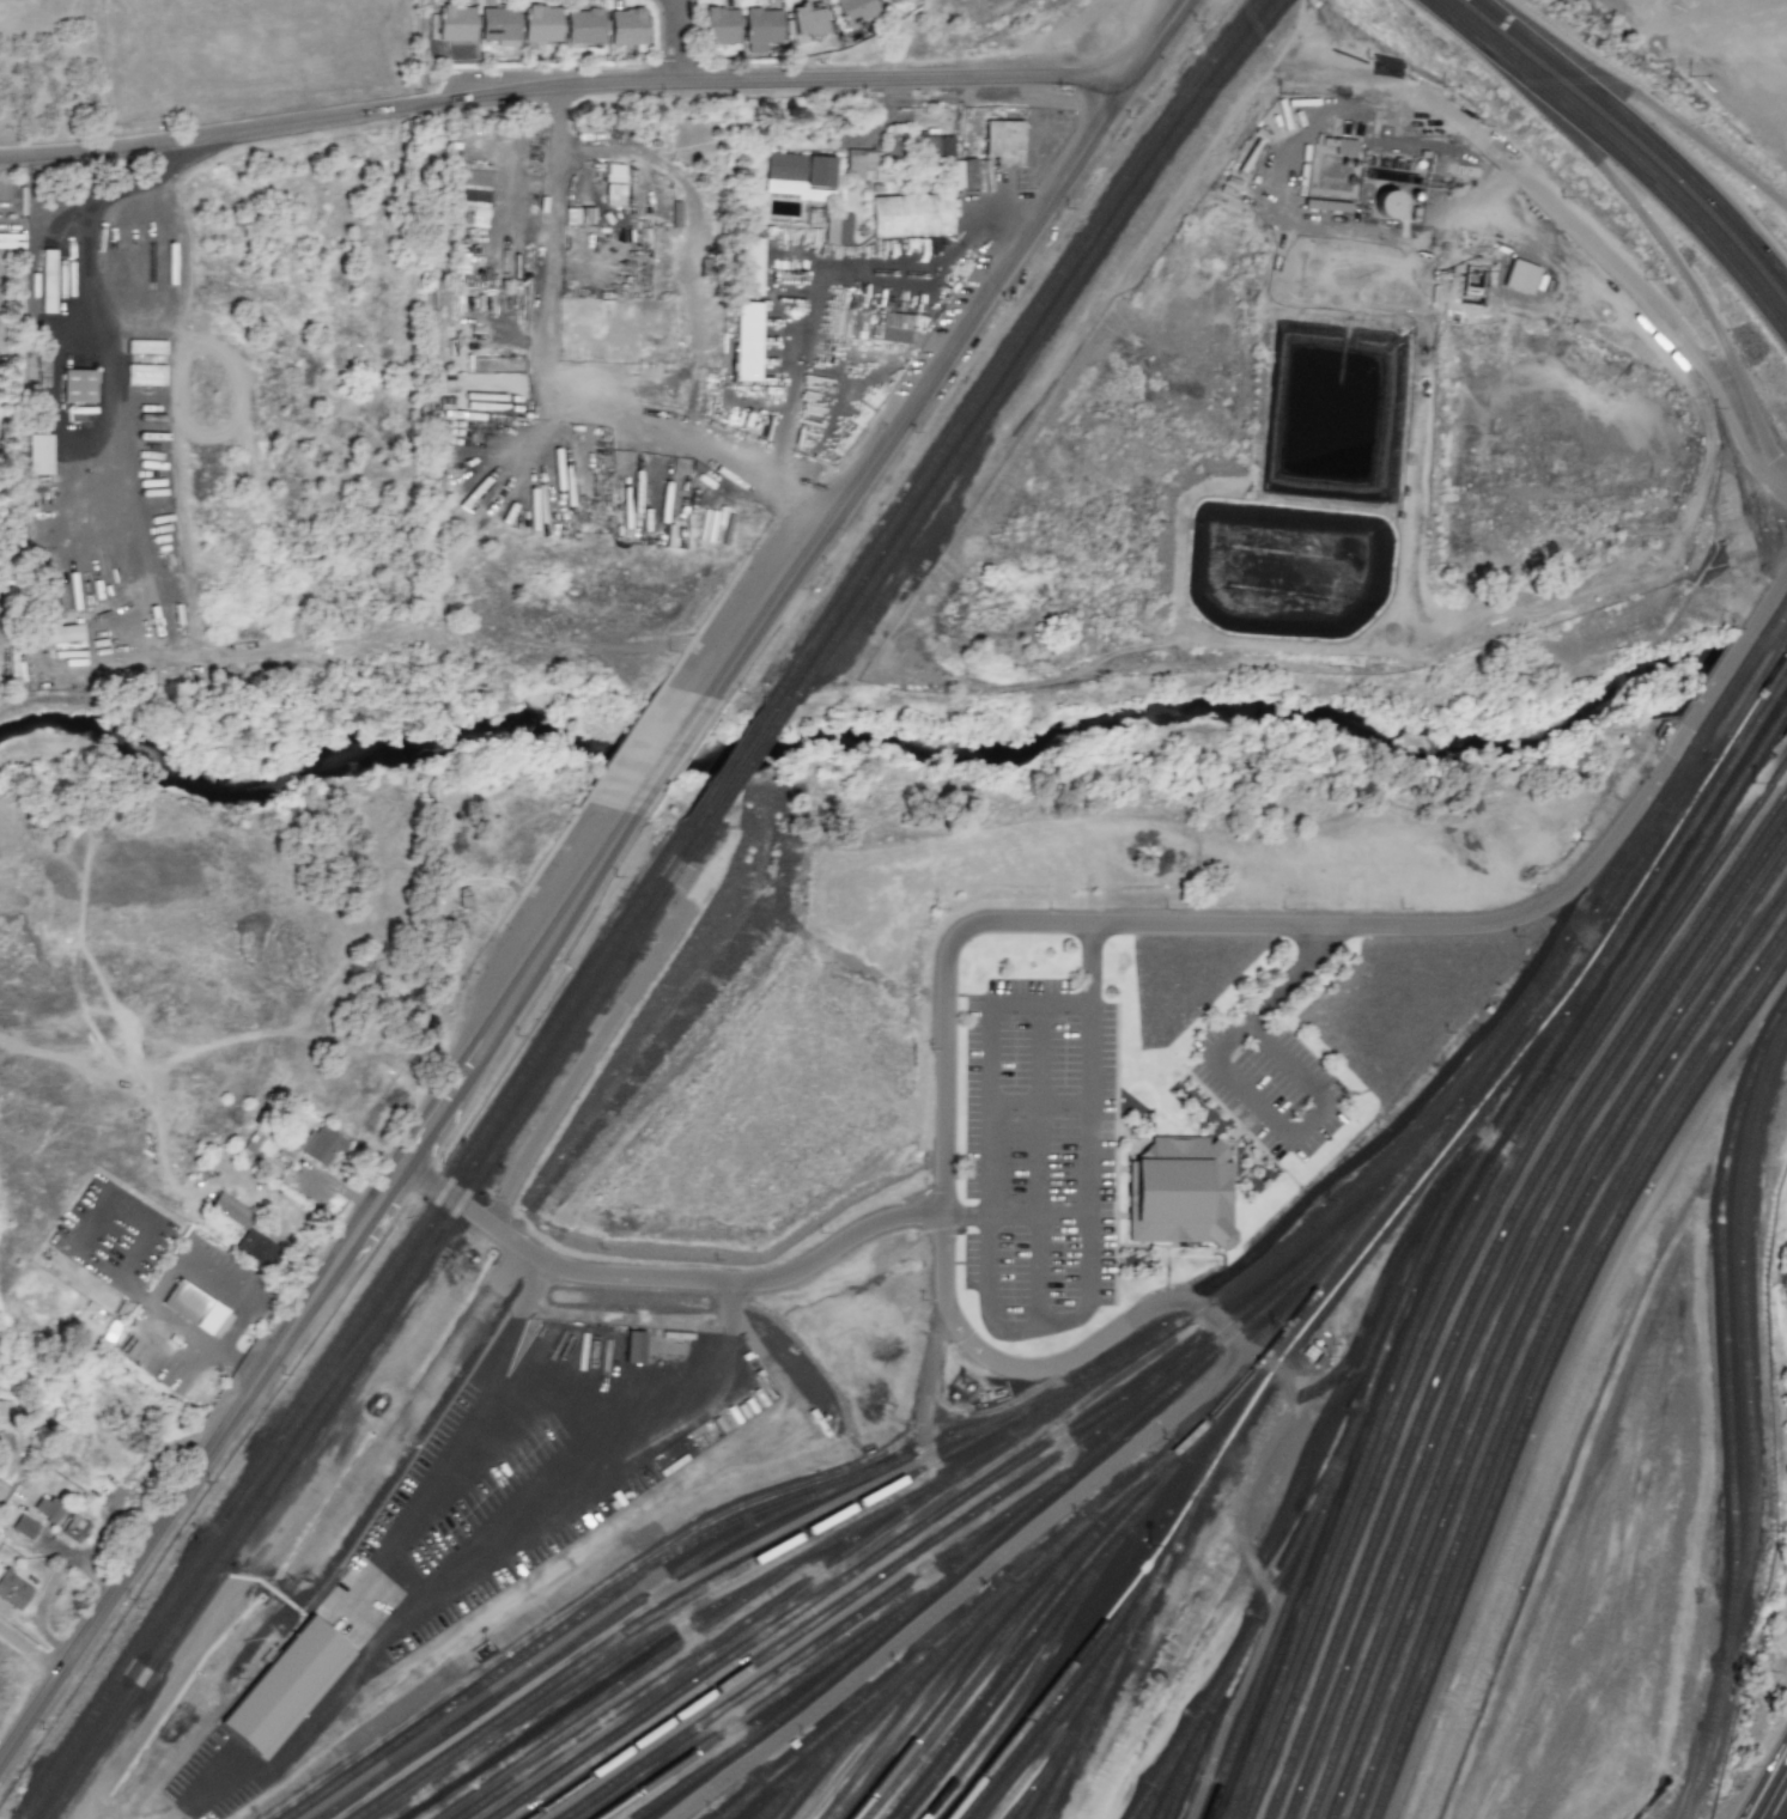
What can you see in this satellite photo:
building: (885, 0)
building: (891, 1)
building: (855, 10)
building: (809, 19)
building: (455, 22)
building: (541, 22)
street lamp: (1192, 23)
building: (721, 24)
building: (498, 25)
building: (584, 25)
building: (628, 25)
building: (760, 26)
road: (675, 41)
road: (559, 87)
road: (1663, 115)
road: (891, 117)
street lamp: (1127, 121)
power tower: (1481, 123)
building: (1004, 142)
road: (1631, 142)
building: (935, 145)
building: (1345, 147)
building: (861, 164)
road: (1704, 169)
building: (964, 175)
building: (801, 176)
building: (472, 177)
building: (614, 184)
building: (1386, 203)
road: (551, 215)
building: (911, 218)
road: (974, 219)
road: (1578, 226)
building: (839, 227)
road: (693, 237)
road: (1669, 251)
building: (749, 267)
road: (871, 274)
building: (1519, 276)
building: (48, 280)
road: (93, 302)
building: (895, 328)
road: (958, 340)
railway: (1019, 340)
building: (747, 341)
railway: (1035, 342)
building: (146, 346)
road: (796, 366)
building: (145, 375)
building: (78, 385)
road: (850, 385)
road: (687, 431)
building: (38, 454)
road: (73, 535)
road: (150, 579)
building: (63, 633)
river: (1751, 673)
railway: (1771, 673)
road: (671, 755)
railway: (736, 759)
railway: (752, 762)
railway: (1651, 832)
railway: (1663, 839)
railway: (1610, 943)
road: (1090, 965)
road: (1037, 1004)
railway: (1522, 1018)
railway: (1532, 1030)
road: (1250, 1093)
road: (1039, 1111)
building: (321, 1144)
road: (946, 1162)
road: (344, 1188)
building: (1180, 1193)
building: (231, 1209)
railway: (1443, 1221)
railway: (1388, 1222)
railway: (1457, 1239)
building: (257, 1248)
railway: (1465, 1265)
road: (1037, 1270)
road: (667, 1274)
railway: (1478, 1282)
railway: (1321, 1284)
road: (212, 1285)
road: (159, 1291)
road: (1084, 1294)
railway: (1491, 1298)
road: (312, 1301)
building: (196, 1309)
railway: (1507, 1315)
railway: (357, 1322)
railway: (379, 1326)
railway: (1726, 1328)
road: (227, 1337)
railway: (1518, 1337)
road: (174, 1343)
railway: (1148, 1343)
building: (634, 1346)
railway: (1532, 1355)
road: (239, 1364)
railway: (1546, 1373)
railway: (335, 1375)
road: (608, 1383)
railway: (1752, 1424)
road: (450, 1435)
road: (595, 1477)
road: (1017, 1496)
railway: (1045, 1496)
building: (48, 1509)
road: (287, 1517)
road: (917, 1517)
railway: (967, 1519)
building: (24, 1526)
building: (75, 1528)
road: (779, 1558)
railway: (825, 1569)
railway: (844, 1580)
railway: (711, 1584)
building: (13, 1589)
railway: (1063, 1590)
road: (577, 1605)
railway: (1016, 1616)
railway: (697, 1617)
road: (609, 1618)
road: (365, 1620)
railway: (844, 1626)
road: (685, 1630)
railway: (1254, 1630)
railway: (1043, 1636)
road: (31, 1641)
railway: (1098, 1647)
road: (646, 1655)
railway: (942, 1669)
railway: (637, 1673)
railway: (1031, 1678)
railway: (979, 1679)
building: (288, 1686)
railway: (1053, 1686)
railway: (1086, 1692)
railway: (804, 1699)
railway: (889, 1704)
railway: (930, 1704)
railway: (881, 1727)
railway: (1049, 1730)
railway: (1190, 1730)
road: (300, 1735)
railway: (841, 1736)
railway: (1070, 1740)
road: (248, 1763)
railway: (1050, 1768)
railway: (817, 1769)
road: (211, 1774)
railway: (1159, 1778)
railway: (1178, 1778)
road: (1769, 1785)
railway: (1053, 1791)
railway: (778, 1803)
railway: (741, 1805)
road: (196, 1809)
road: (1785, 1817)

